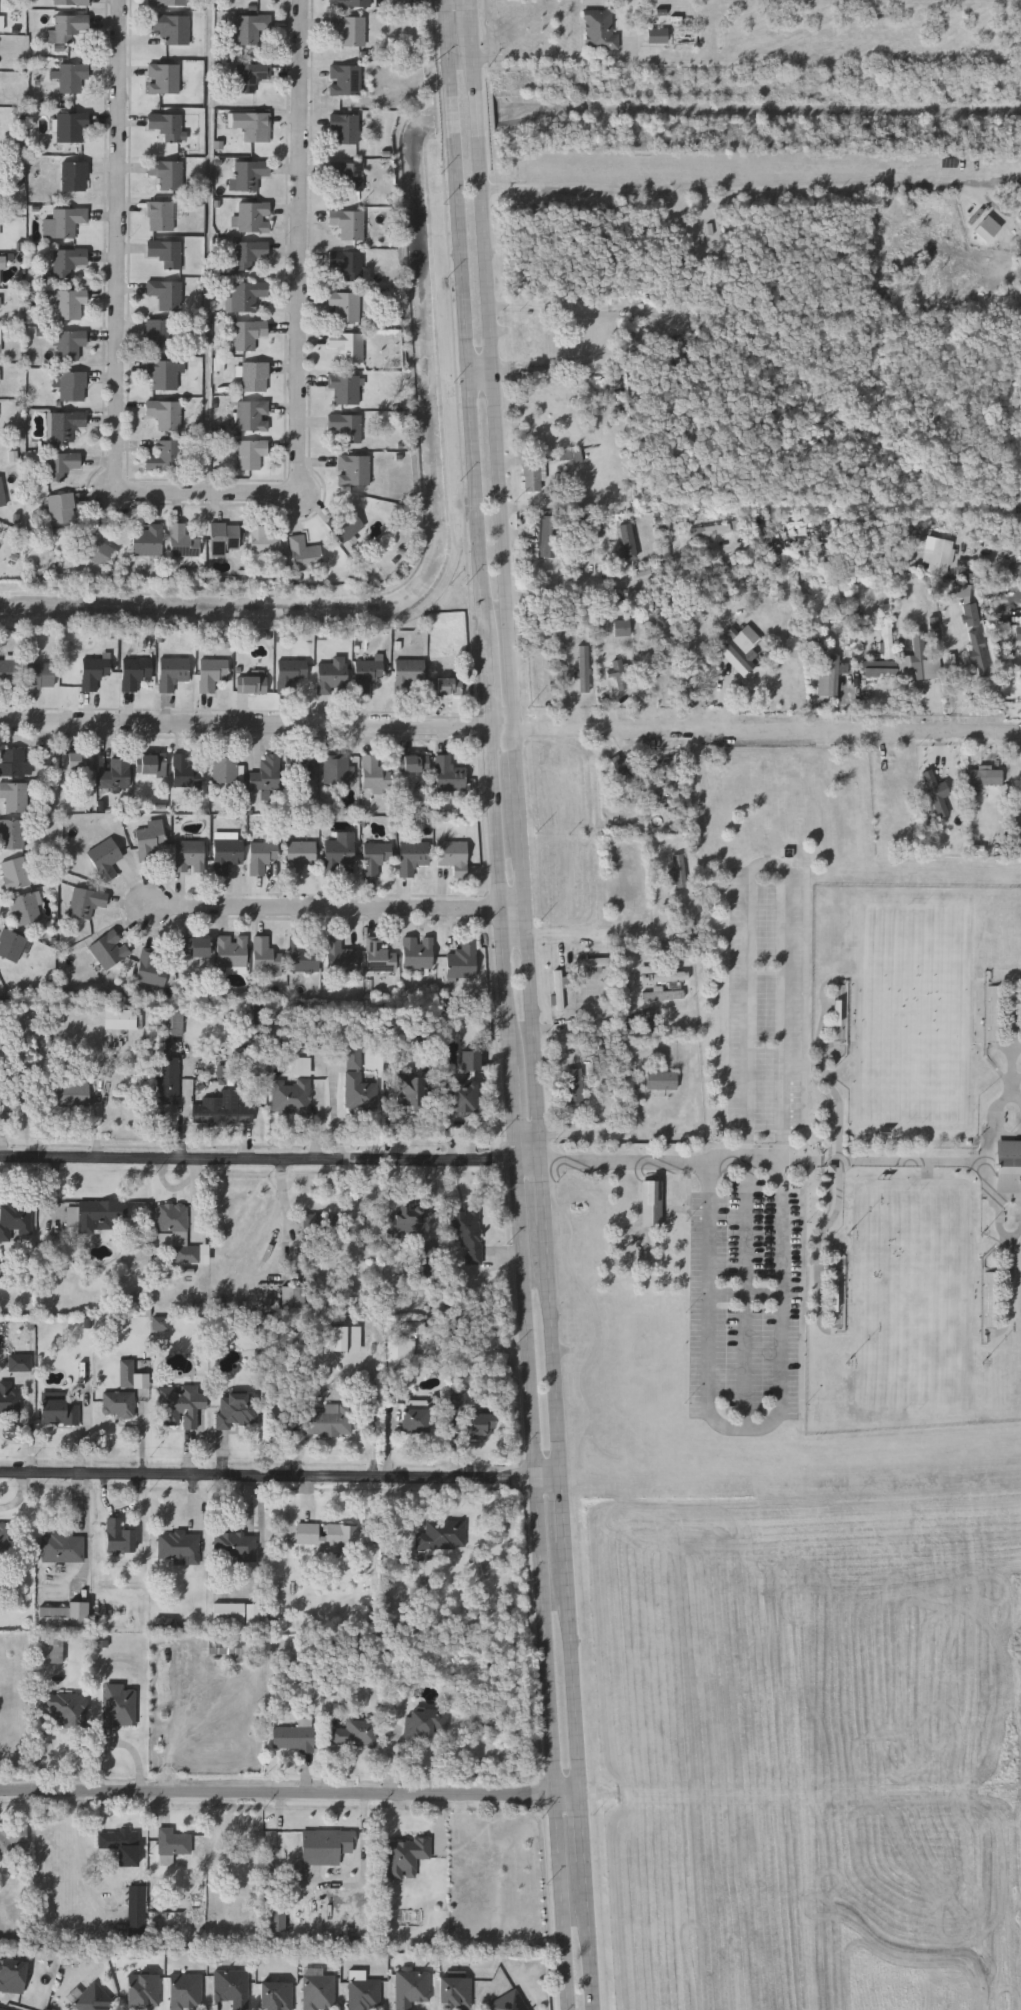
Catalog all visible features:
building: (71, 2)
building: (168, 3)
building: (351, 3)
road: (469, 6)
building: (2, 23)
building: (69, 26)
building: (172, 27)
building: (251, 27)
building: (350, 29)
building: (600, 31)
building: (657, 35)
road: (546, 57)
building: (251, 76)
building: (71, 77)
building: (164, 78)
building: (346, 78)
building: (166, 125)
building: (254, 125)
building: (71, 126)
building: (346, 126)
building: (167, 173)
building: (250, 174)
building: (348, 174)
building: (74, 176)
building: (1, 190)
road: (735, 194)
building: (161, 216)
building: (253, 217)
building: (65, 222)
building: (348, 223)
building: (0, 228)
building: (988, 229)
road: (120, 236)
road: (304, 238)
road: (213, 247)
building: (165, 252)
building: (250, 254)
building: (68, 261)
building: (347, 266)
building: (0, 270)
building: (167, 294)
building: (248, 295)
building: (1, 301)
building: (68, 302)
building: (344, 307)
building: (160, 334)
building: (248, 334)
building: (1, 336)
building: (529, 337)
building: (69, 343)
building: (348, 346)
road: (479, 370)
road: (492, 371)
building: (165, 373)
building: (255, 377)
building: (73, 386)
building: (346, 388)
building: (165, 414)
building: (253, 416)
building: (65, 425)
building: (347, 426)
building: (251, 453)
building: (165, 457)
building: (62, 465)
building: (354, 469)
building: (535, 477)
road: (208, 494)
building: (2, 495)
building: (61, 508)
building: (346, 524)
road: (991, 526)
building: (709, 529)
building: (861, 532)
building: (550, 535)
building: (223, 537)
building: (265, 539)
building: (148, 541)
building: (182, 541)
building: (629, 541)
building: (97, 548)
building: (305, 554)
building: (939, 555)
road: (646, 579)
building: (962, 592)
building: (971, 614)
building: (623, 627)
building: (1018, 632)
building: (887, 638)
building: (738, 651)
building: (978, 652)
building: (918, 654)
building: (950, 664)
building: (584, 668)
building: (293, 671)
building: (95, 673)
building: (136, 673)
building: (174, 673)
building: (213, 673)
building: (9, 674)
building: (367, 674)
building: (833, 674)
building: (41, 675)
building: (333, 675)
building: (616, 675)
building: (410, 677)
building: (252, 684)
building: (448, 687)
road: (246, 724)
road: (501, 729)
road: (766, 731)
building: (46, 757)
building: (79, 761)
road: (513, 762)
building: (14, 763)
building: (414, 764)
building: (153, 767)
building: (302, 769)
building: (622, 769)
building: (340, 770)
building: (225, 771)
building: (117, 773)
building: (186, 773)
building: (267, 775)
building: (374, 775)
building: (448, 775)
building: (673, 776)
building: (983, 777)
building: (938, 793)
building: (15, 796)
building: (12, 834)
building: (151, 842)
building: (340, 850)
building: (227, 854)
building: (190, 856)
building: (300, 856)
building: (454, 856)
building: (377, 857)
building: (414, 858)
building: (106, 859)
building: (262, 859)
building: (679, 870)
building: (16, 874)
building: (87, 903)
building: (28, 909)
road: (337, 909)
road: (586, 938)
building: (11, 946)
building: (196, 947)
building: (110, 950)
building: (232, 951)
building: (419, 953)
building: (303, 956)
building: (380, 956)
building: (266, 957)
building: (340, 957)
building: (464, 960)
building: (594, 962)
road: (525, 965)
building: (152, 969)
building: (664, 975)
road: (750, 987)
building: (559, 990)
road: (507, 1004)
building: (842, 1010)
park: (915, 1012)
building: (993, 1014)
building: (120, 1019)
building: (172, 1024)
building: (608, 1049)
building: (227, 1074)
building: (167, 1080)
building: (662, 1081)
building: (358, 1083)
building: (462, 1085)
building: (574, 1086)
building: (412, 1091)
building: (72, 1092)
building: (291, 1096)
building: (221, 1112)
road: (592, 1135)
road: (526, 1136)
road: (538, 1149)
road: (269, 1160)
park: (816, 1160)
road: (673, 1162)
building: (1009, 1166)
road: (541, 1193)
building: (651, 1203)
building: (98, 1214)
building: (15, 1218)
building: (407, 1219)
building: (173, 1220)
building: (311, 1223)
road: (268, 1225)
building: (466, 1230)
building: (205, 1254)
building: (425, 1263)
building: (1, 1271)
building: (292, 1297)
building: (839, 1297)
building: (990, 1297)
park: (913, 1298)
building: (162, 1324)
building: (337, 1338)
road: (551, 1352)
building: (401, 1354)
building: (21, 1363)
building: (126, 1372)
building: (9, 1399)
building: (460, 1401)
building: (119, 1404)
building: (180, 1406)
building: (237, 1409)
building: (60, 1413)
building: (329, 1420)
building: (415, 1421)
building: (481, 1428)
road: (743, 1429)
road: (279, 1479)
road: (561, 1511)
building: (326, 1535)
building: (443, 1535)
building: (118, 1536)
building: (3, 1537)
building: (235, 1544)
building: (179, 1545)
building: (63, 1548)
building: (229, 1612)
building: (64, 1614)
building: (252, 1614)
building: (166, 1623)
building: (226, 1648)
building: (50, 1649)
road: (571, 1670)
building: (120, 1704)
building: (60, 1713)
building: (421, 1725)
building: (354, 1732)
building: (293, 1738)
road: (289, 1795)
road: (581, 1829)
building: (11, 1837)
building: (173, 1840)
building: (122, 1844)
building: (326, 1845)
road: (81, 1856)
building: (407, 1857)
building: (137, 1910)
building: (277, 1917)
road: (588, 1936)
building: (12, 1976)
building: (233, 1988)
building: (412, 1988)
building: (144, 1990)
building: (186, 1992)
building: (320, 1992)
building: (456, 1992)
building: (365, 1994)
building: (277, 1996)
building: (95, 1999)
building: (508, 2002)
building: (2, 2009)

